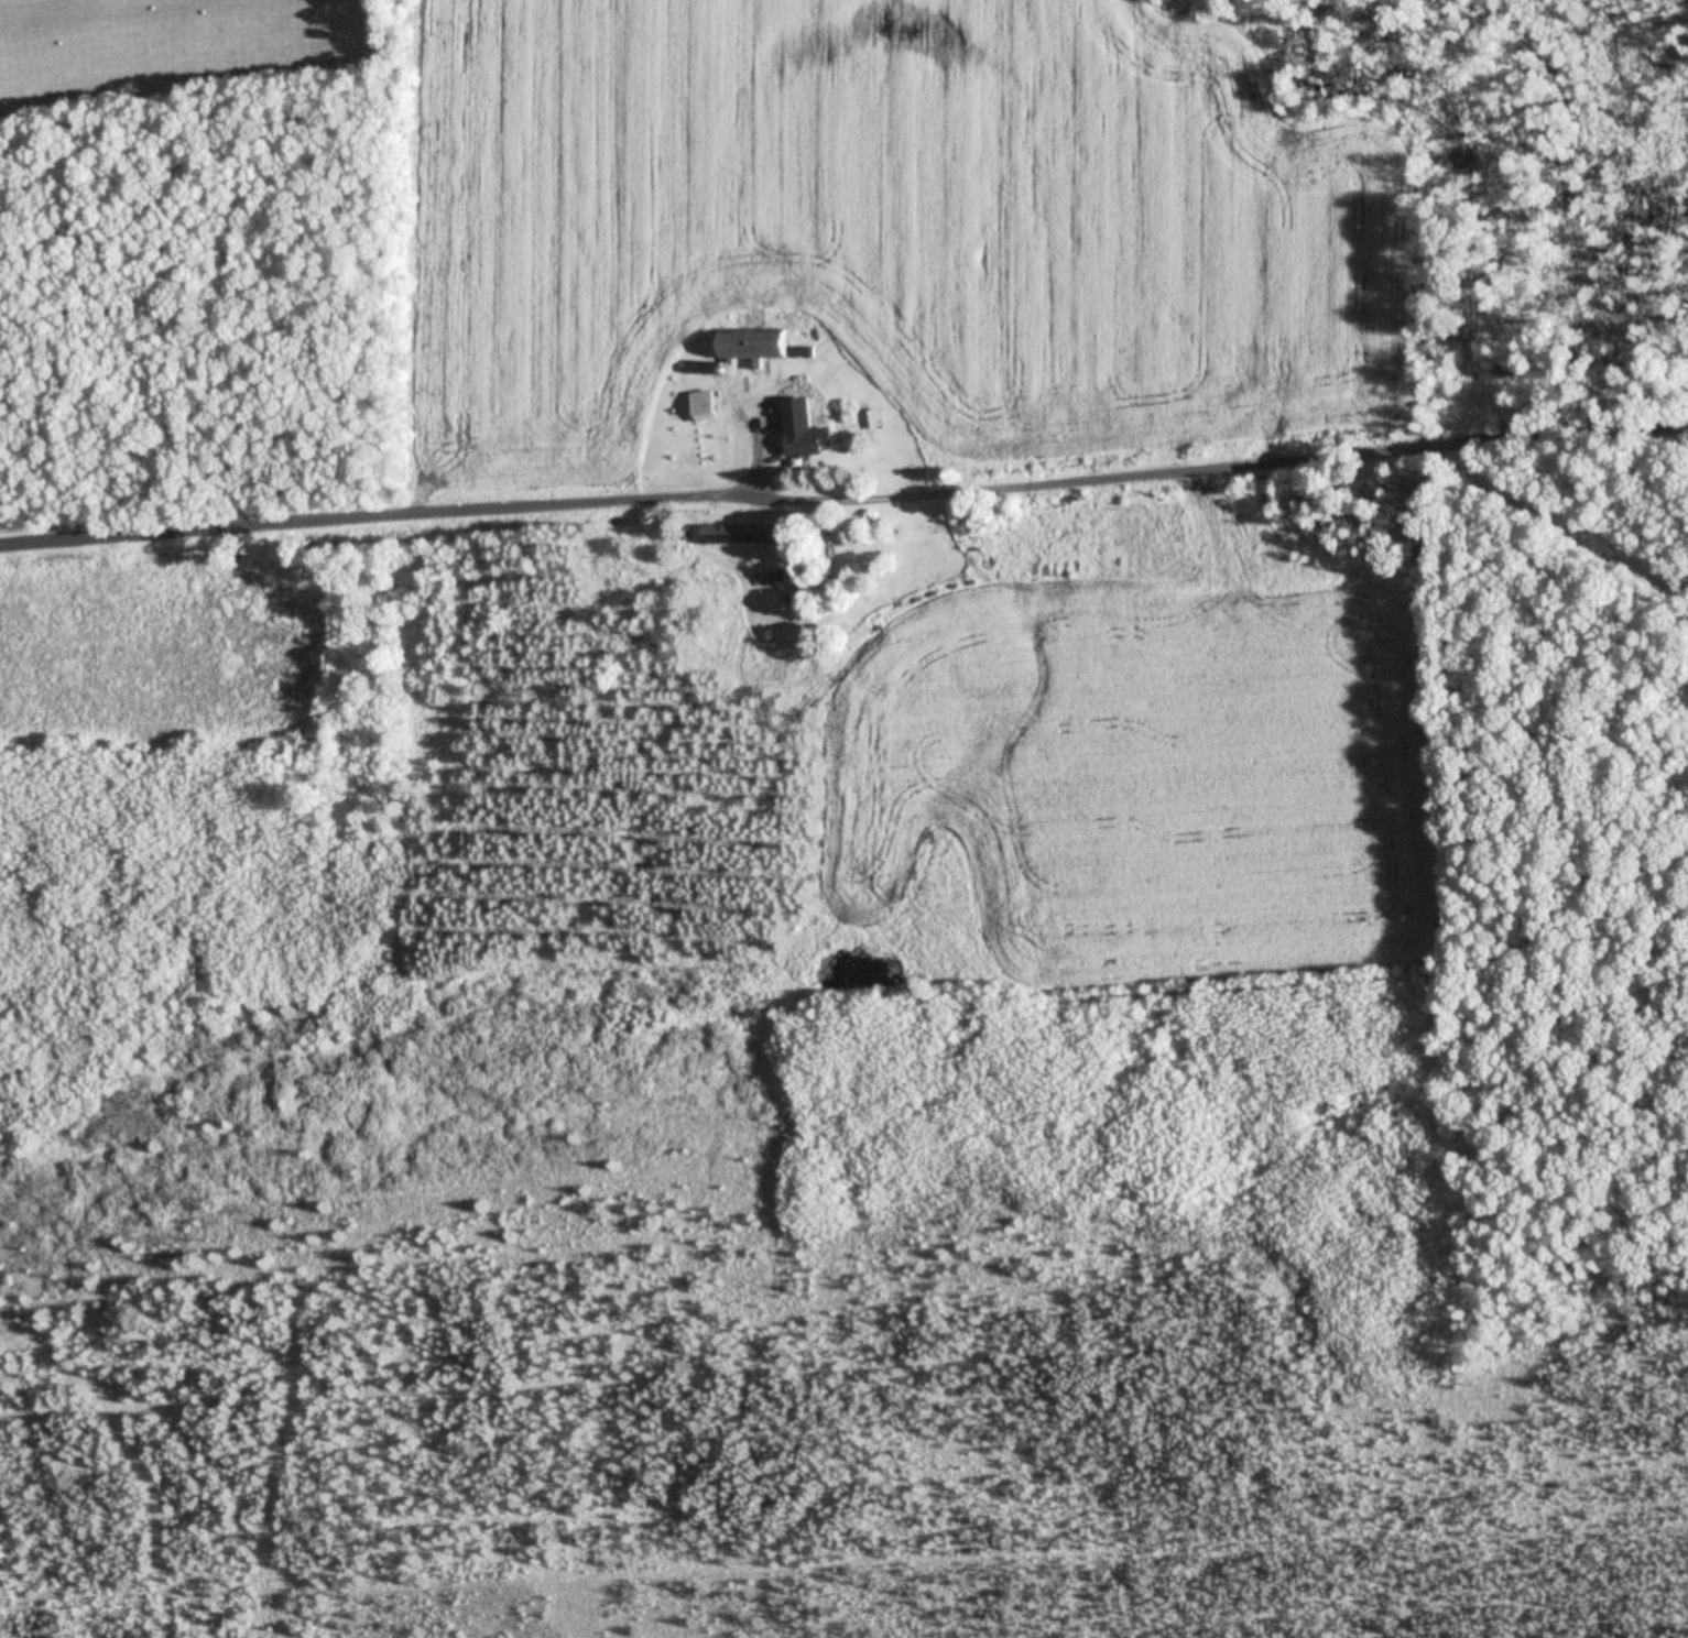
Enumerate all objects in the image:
building: (761, 343)
building: (708, 413)
building: (879, 418)
building: (815, 439)
road: (842, 481)
building: (749, 536)

